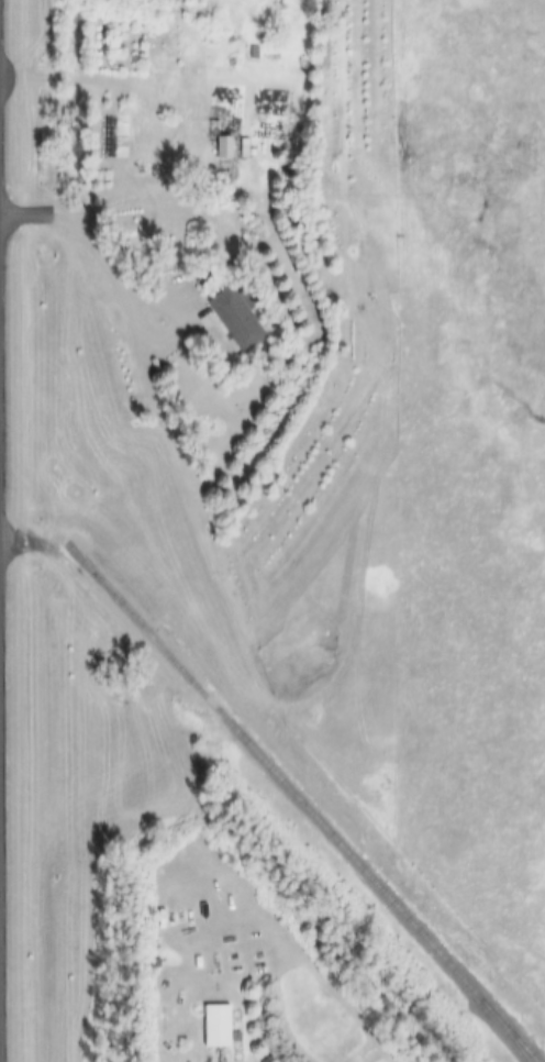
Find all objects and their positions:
building: (229, 98)
road: (166, 146)
building: (227, 147)
building: (245, 318)
road: (138, 323)
road: (1, 472)
road: (3, 530)
railway: (300, 805)
road: (1, 836)
building: (221, 1027)
railway: (500, 1031)

